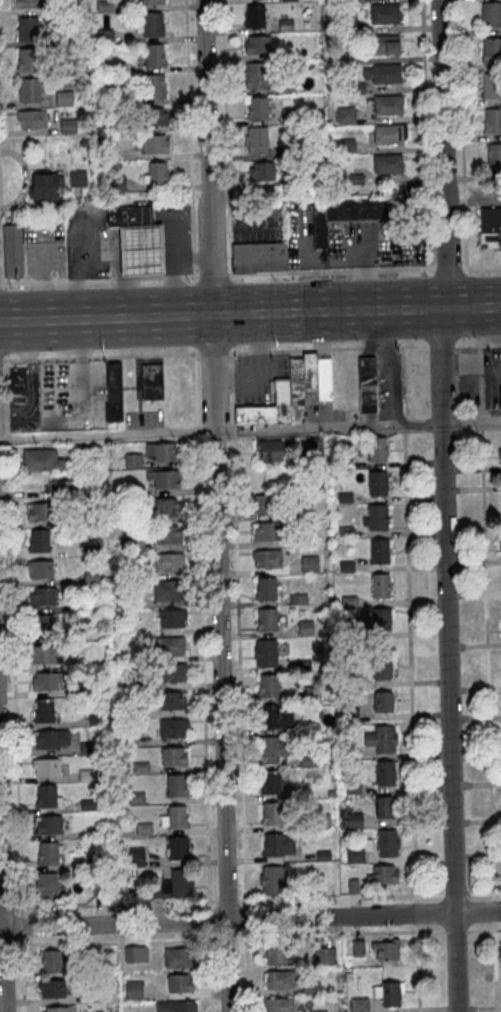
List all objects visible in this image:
building: (289, 0)
building: (351, 1)
building: (150, 2)
building: (26, 4)
building: (61, 7)
building: (104, 7)
building: (385, 14)
building: (491, 15)
building: (254, 17)
building: (347, 24)
building: (59, 25)
building: (152, 25)
building: (285, 25)
building: (28, 29)
building: (104, 36)
building: (381, 44)
building: (258, 45)
building: (492, 51)
building: (154, 56)
building: (351, 58)
building: (27, 60)
building: (116, 68)
building: (61, 70)
building: (383, 74)
building: (257, 77)
building: (491, 85)
building: (153, 87)
building: (287, 88)
building: (357, 89)
building: (29, 91)
building: (121, 98)
building: (63, 99)
building: (388, 104)
building: (257, 109)
building: (346, 115)
building: (292, 116)
building: (154, 117)
building: (32, 120)
building: (492, 121)
building: (68, 127)
building: (118, 127)
building: (390, 133)
building: (257, 141)
building: (83, 143)
building: (155, 144)
building: (347, 147)
building: (289, 153)
building: (108, 154)
building: (493, 156)
building: (388, 163)
building: (261, 172)
building: (158, 174)
building: (77, 179)
building: (298, 180)
building: (356, 180)
building: (117, 184)
building: (44, 186)
building: (344, 214)
building: (129, 216)
building: (490, 227)
building: (141, 249)
building: (12, 251)
building: (259, 256)
road: (483, 266)
road: (447, 267)
road: (330, 271)
road: (212, 274)
road: (97, 278)
road: (0, 282)
road: (250, 314)
road: (478, 343)
road: (440, 344)
road: (326, 348)
road: (213, 352)
road: (99, 356)
building: (309, 373)
building: (17, 380)
building: (151, 380)
building: (324, 380)
building: (296, 381)
building: (367, 384)
building: (114, 391)
building: (268, 406)
road: (391, 426)
road: (481, 426)
road: (248, 431)
road: (107, 435)
street lamp: (227, 440)
building: (310, 449)
building: (377, 449)
building: (164, 450)
building: (269, 450)
building: (500, 456)
building: (42, 459)
building: (133, 460)
building: (344, 462)
building: (167, 479)
building: (378, 484)
building: (65, 489)
building: (345, 499)
building: (265, 503)
road: (442, 505)
road: (215, 506)
building: (168, 507)
building: (38, 511)
building: (303, 512)
building: (376, 518)
building: (266, 532)
building: (346, 532)
building: (169, 534)
building: (306, 538)
building: (38, 541)
building: (500, 544)
building: (500, 546)
building: (379, 551)
building: (267, 559)
building: (169, 561)
building: (310, 565)
building: (346, 567)
building: (40, 569)
building: (381, 586)
building: (168, 589)
building: (266, 589)
building: (42, 596)
building: (298, 600)
building: (350, 602)
building: (172, 617)
building: (381, 619)
building: (267, 621)
building: (43, 626)
road: (201, 628)
road: (237, 629)
building: (306, 629)
building: (350, 632)
building: (170, 644)
building: (43, 653)
building: (266, 654)
building: (382, 668)
building: (172, 672)
building: (45, 681)
road: (14, 683)
building: (350, 683)
building: (269, 687)
building: (312, 694)
building: (172, 700)
building: (384, 702)
building: (44, 710)
building: (351, 717)
building: (275, 718)
building: (95, 719)
road: (411, 719)
road: (488, 720)
building: (173, 727)
building: (50, 739)
building: (382, 740)
building: (272, 750)
building: (175, 755)
building: (347, 758)
building: (308, 763)
building: (140, 766)
building: (45, 767)
building: (385, 774)
building: (270, 784)
building: (176, 785)
building: (353, 789)
building: (46, 795)
building: (136, 798)
building: (87, 803)
building: (386, 808)
building: (277, 814)
building: (177, 816)
building: (354, 821)
building: (322, 822)
building: (48, 824)
building: (144, 828)
building: (95, 831)
building: (388, 844)
building: (278, 845)
building: (179, 847)
building: (48, 852)
building: (136, 856)
building: (323, 856)
building: (355, 857)
building: (383, 876)
building: (180, 880)
building: (271, 880)
building: (46, 885)
building: (295, 887)
building: (353, 887)
road: (369, 896)
road: (226, 901)
road: (107, 904)
street lamp: (212, 905)
road: (407, 914)
road: (245, 917)
road: (209, 920)
road: (157, 922)
road: (250, 936)
building: (358, 949)
building: (387, 950)
building: (275, 954)
building: (136, 955)
building: (324, 957)
building: (179, 958)
road: (1, 959)
building: (51, 962)
road: (246, 970)
road: (210, 971)
building: (280, 980)
building: (179, 984)
building: (52, 989)
building: (311, 989)
building: (134, 991)
building: (391, 995)
building: (95, 996)
building: (278, 1005)
building: (360, 1005)
building: (176, 1007)
building: (60, 1009)

